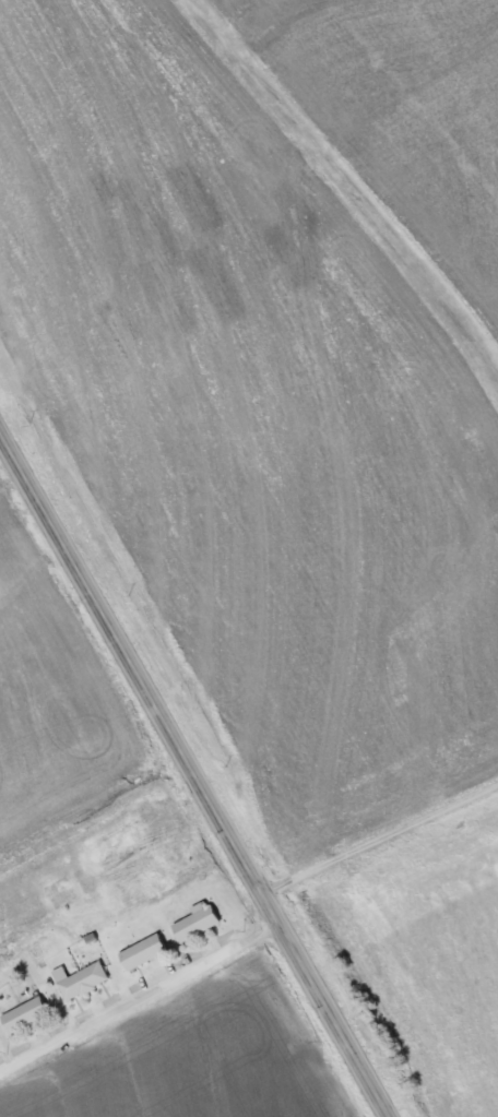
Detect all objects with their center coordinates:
crop: (274, 365)
crop: (54, 684)
road: (194, 775)
road: (379, 837)
building: (198, 923)
building: (144, 951)
building: (83, 981)
road: (140, 998)
building: (26, 1014)

